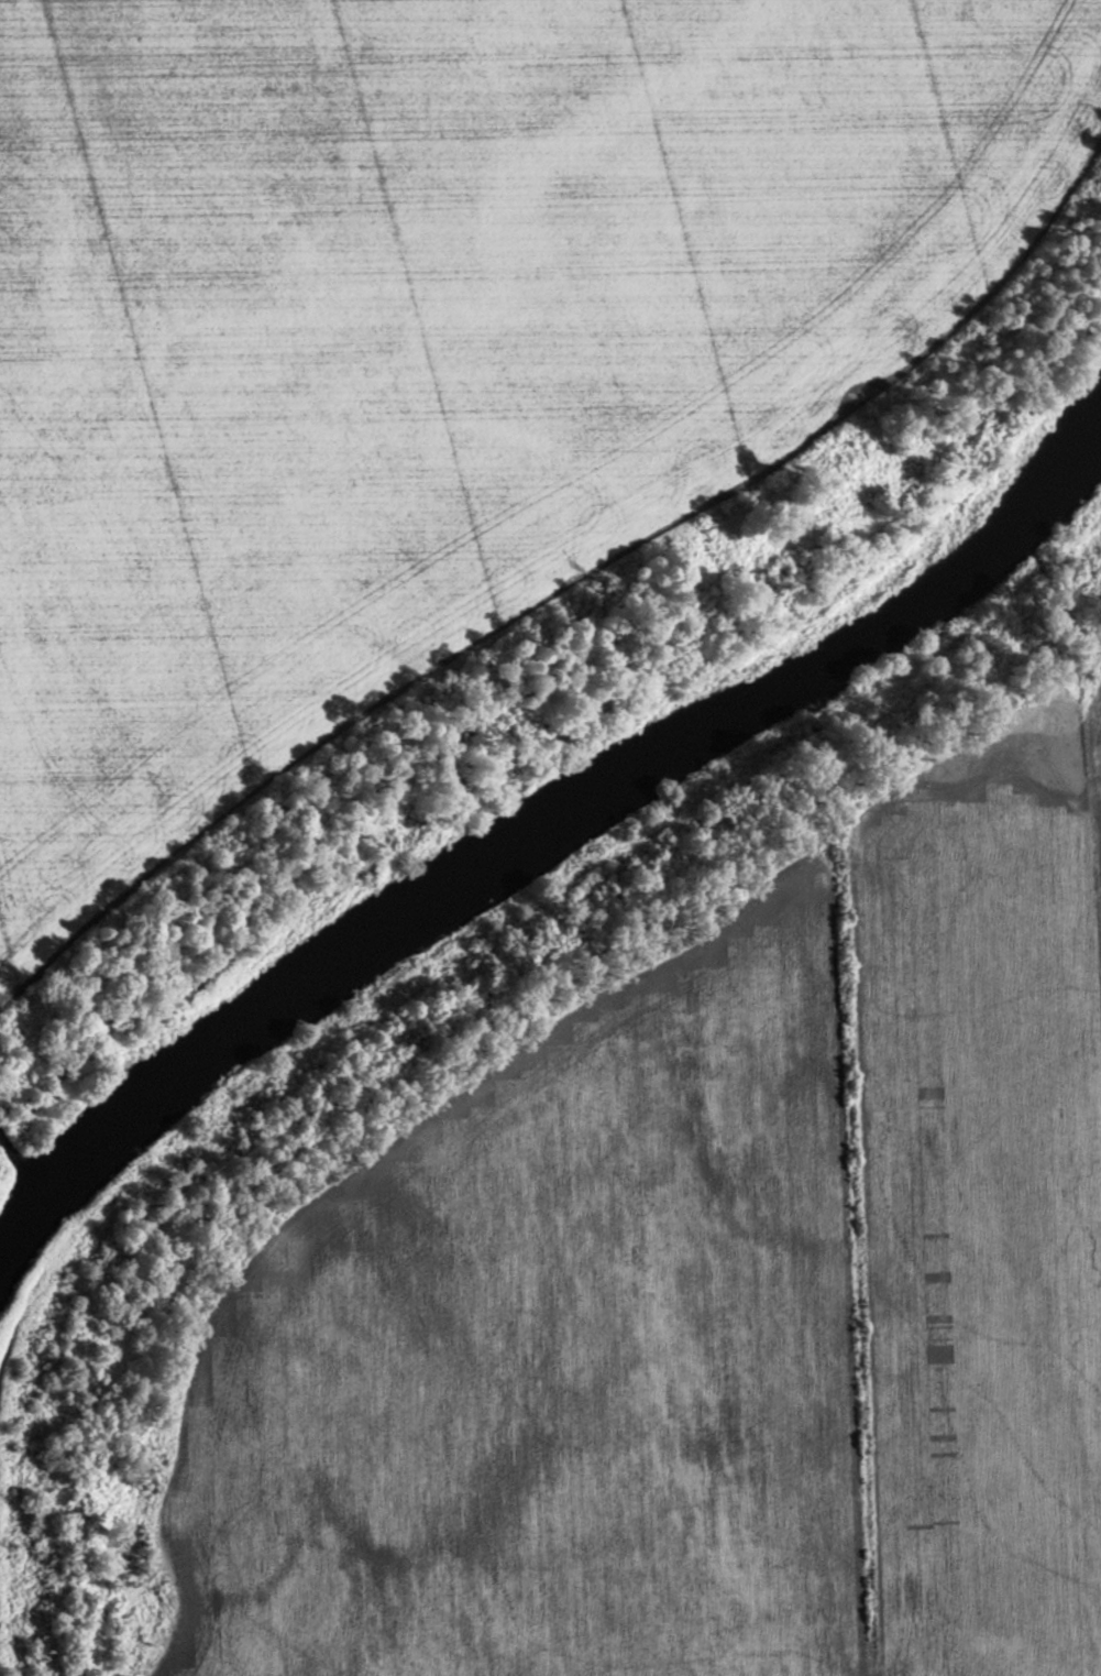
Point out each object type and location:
river: (552, 812)

